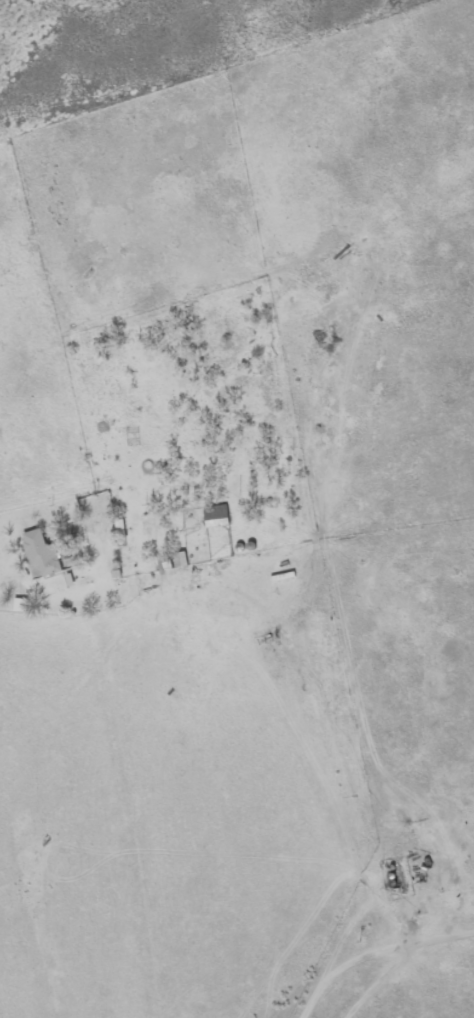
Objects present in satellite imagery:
building: (220, 518)
building: (46, 554)
building: (178, 562)
road: (5, 572)
road: (327, 953)

